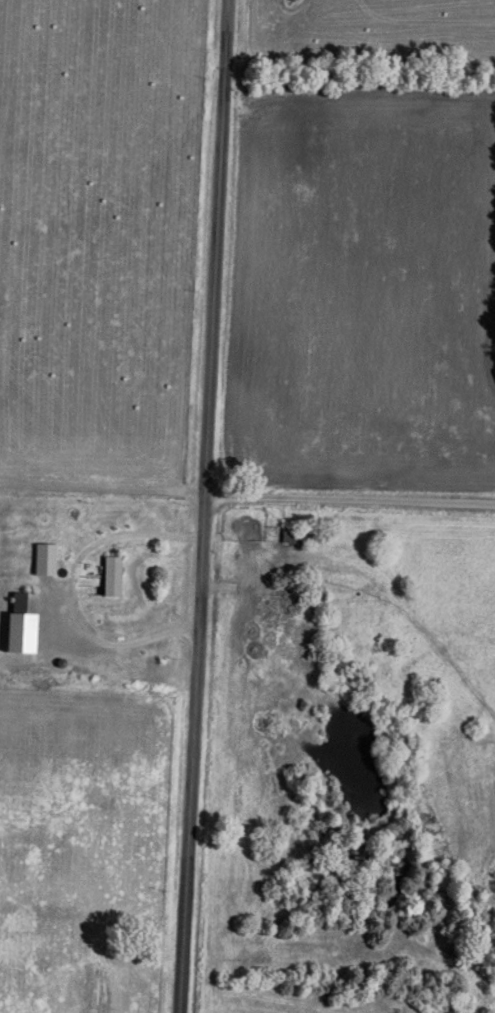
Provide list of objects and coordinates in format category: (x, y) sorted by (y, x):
road: (348, 500)
road: (200, 506)
building: (47, 555)
road: (58, 586)
building: (26, 620)
road: (149, 636)

